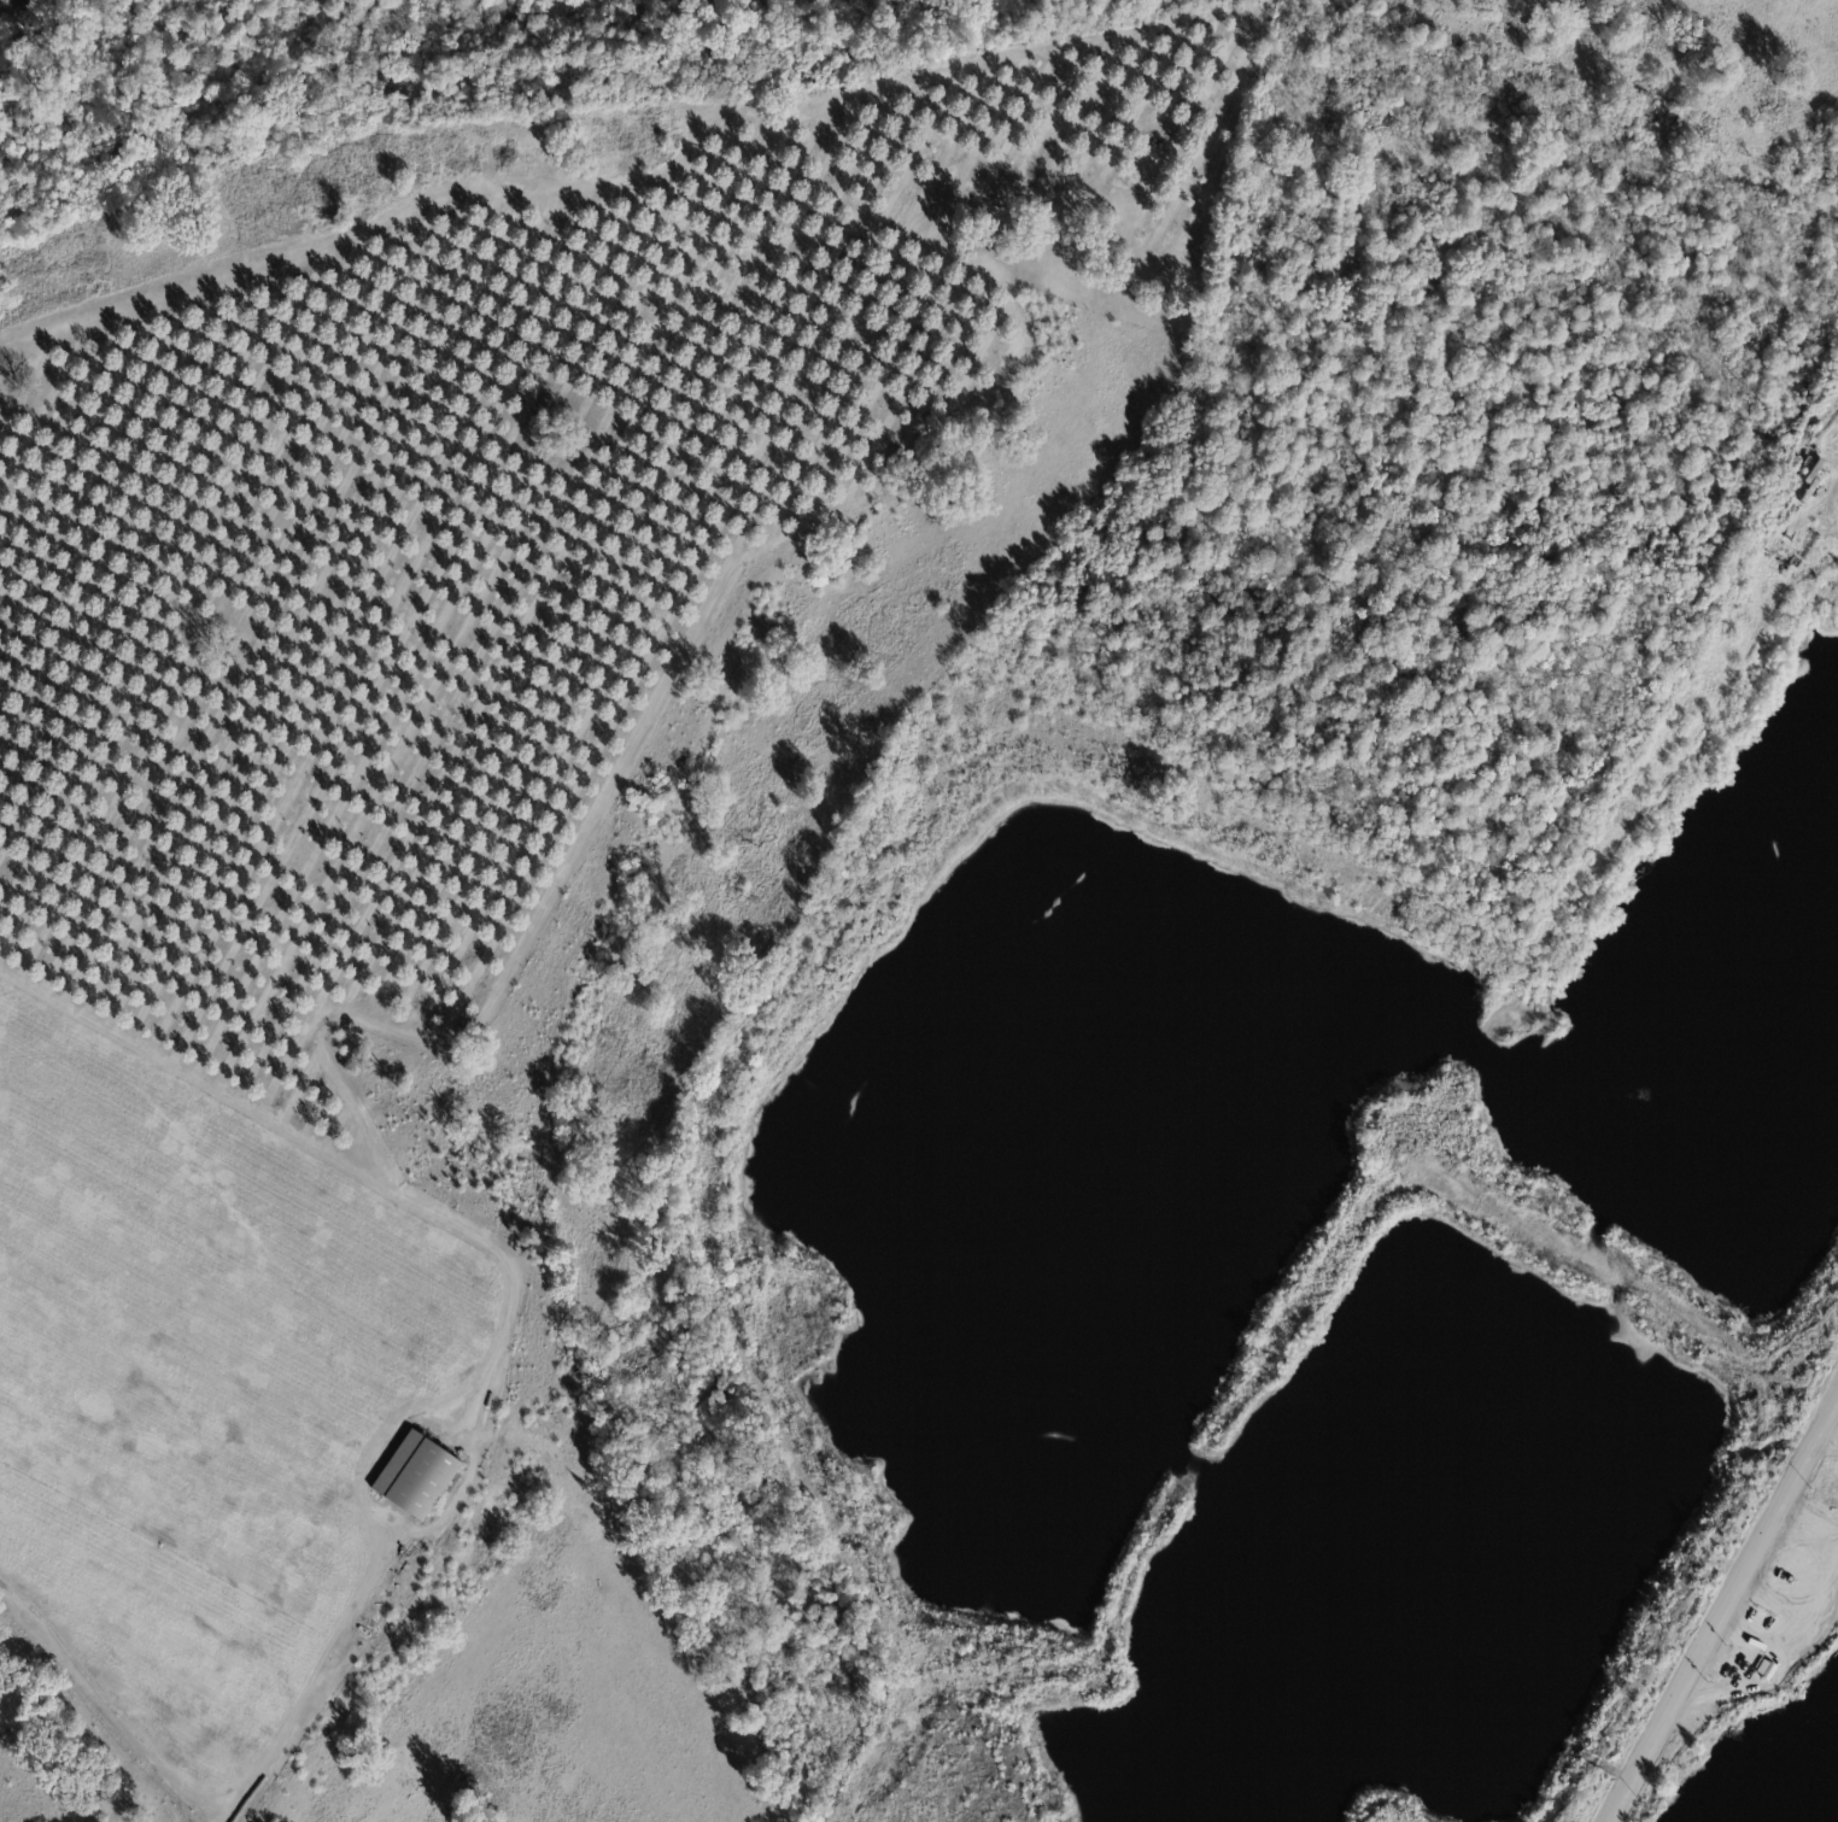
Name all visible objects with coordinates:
building: (1658, 111)
building: (418, 1478)
road: (1723, 1612)
road: (1787, 1670)

